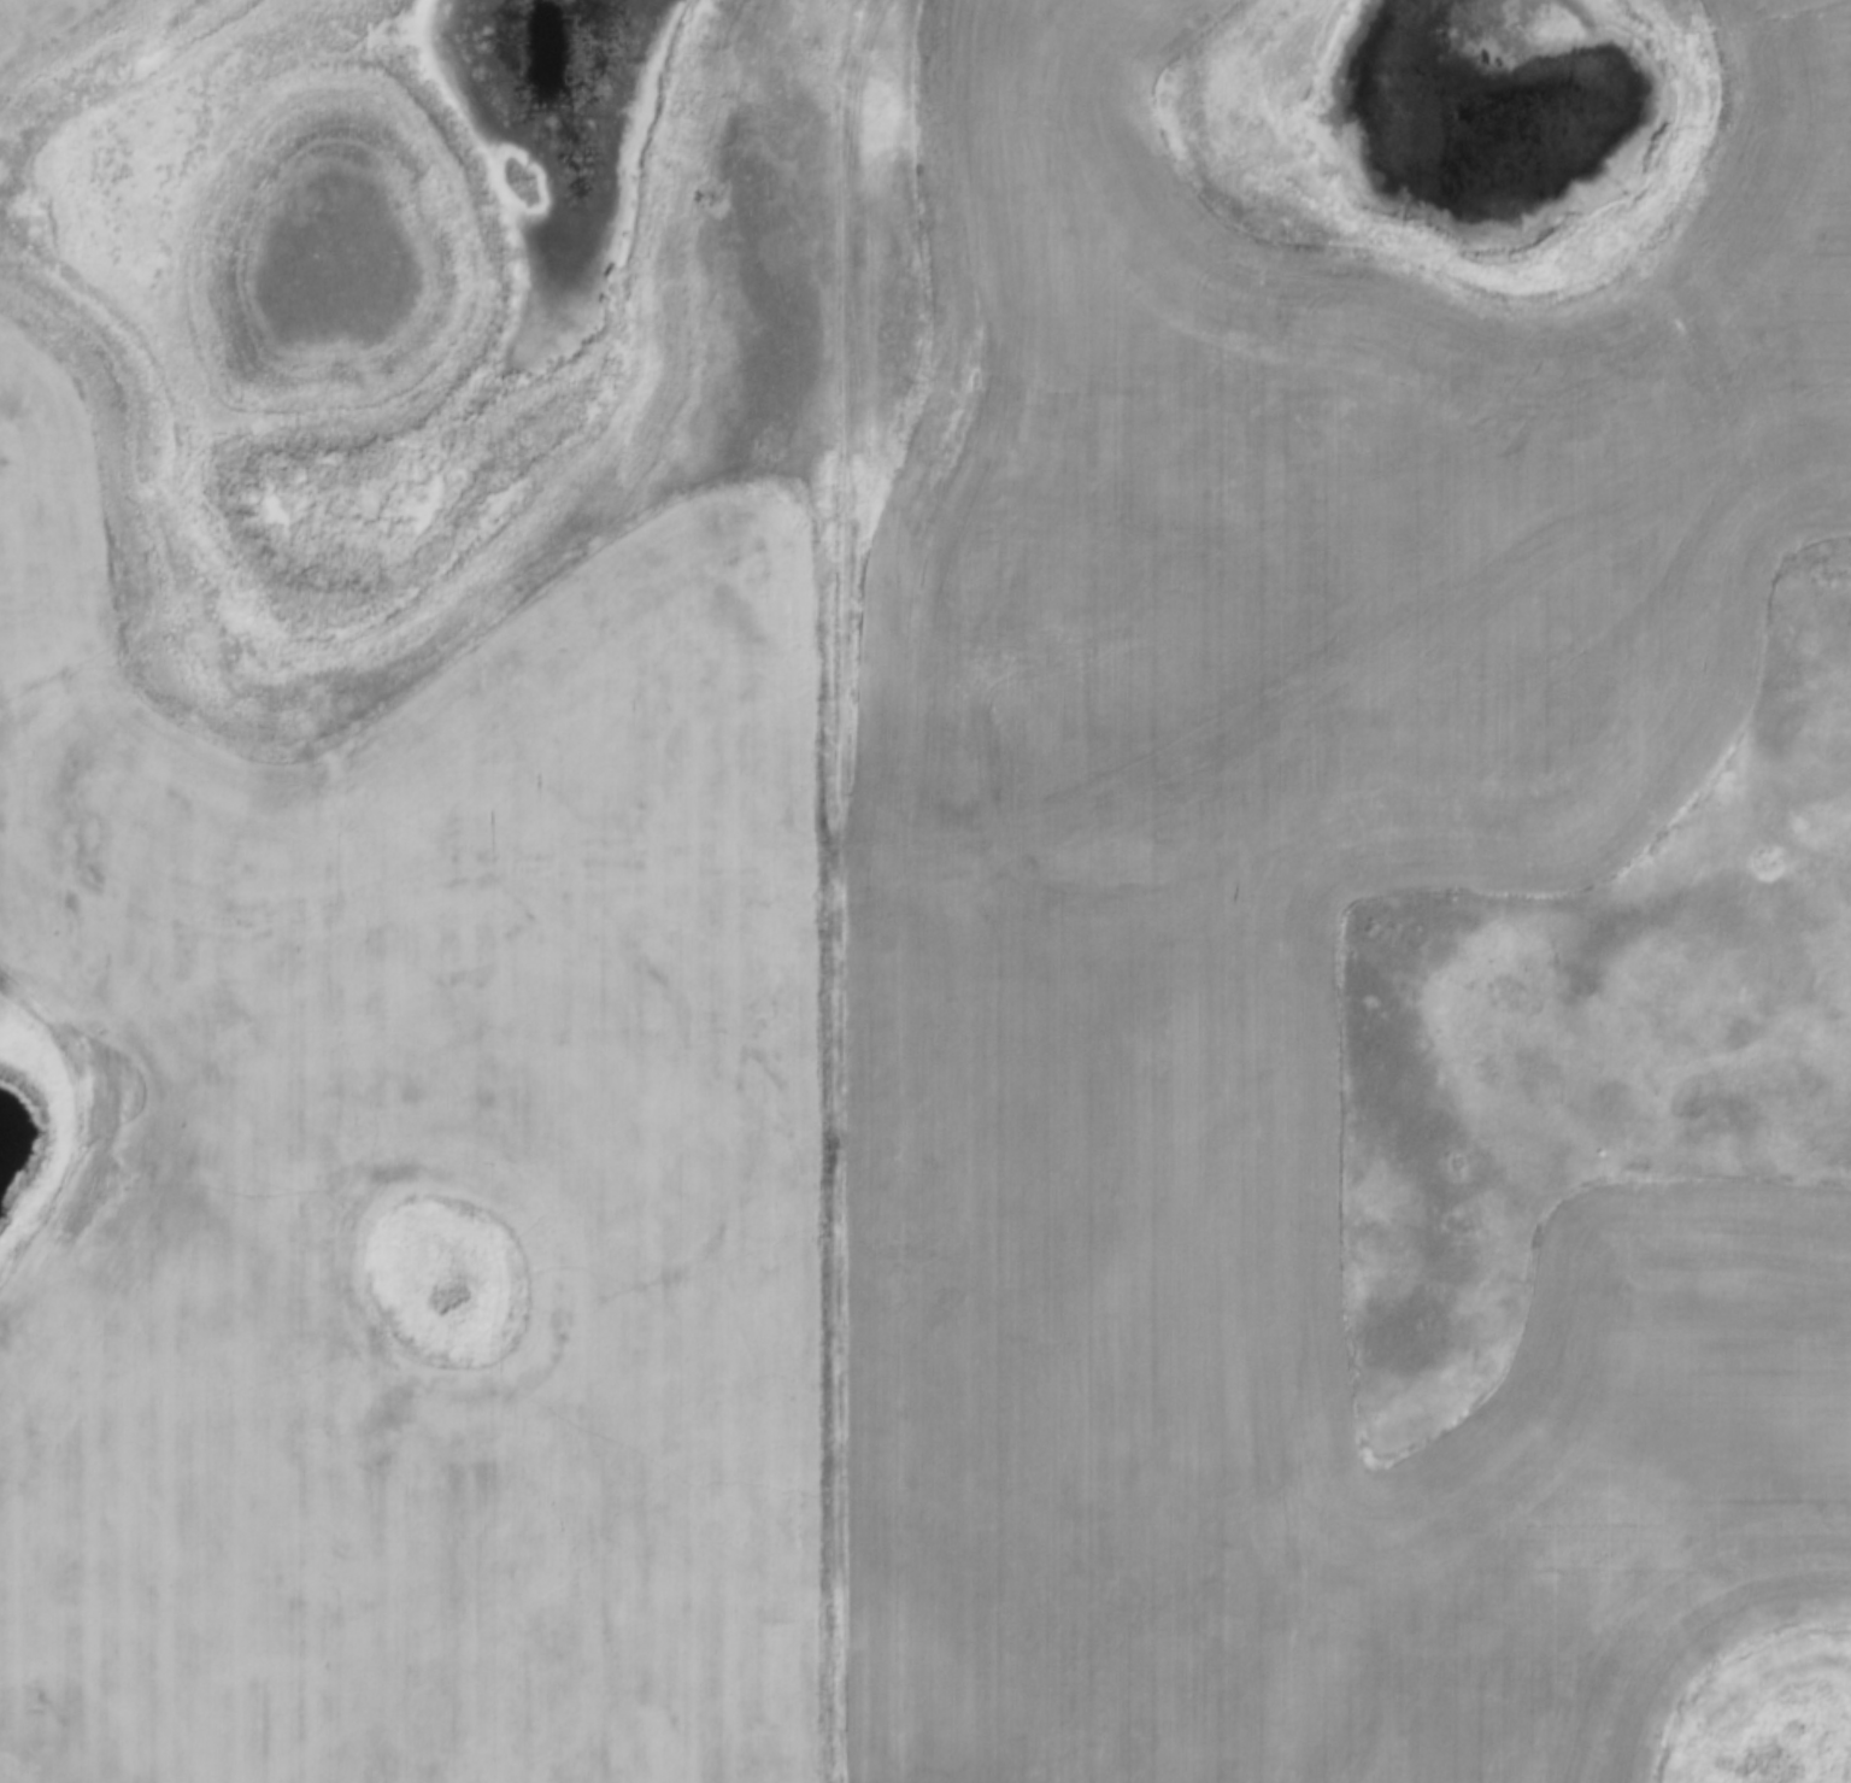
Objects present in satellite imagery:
road: (853, 888)

